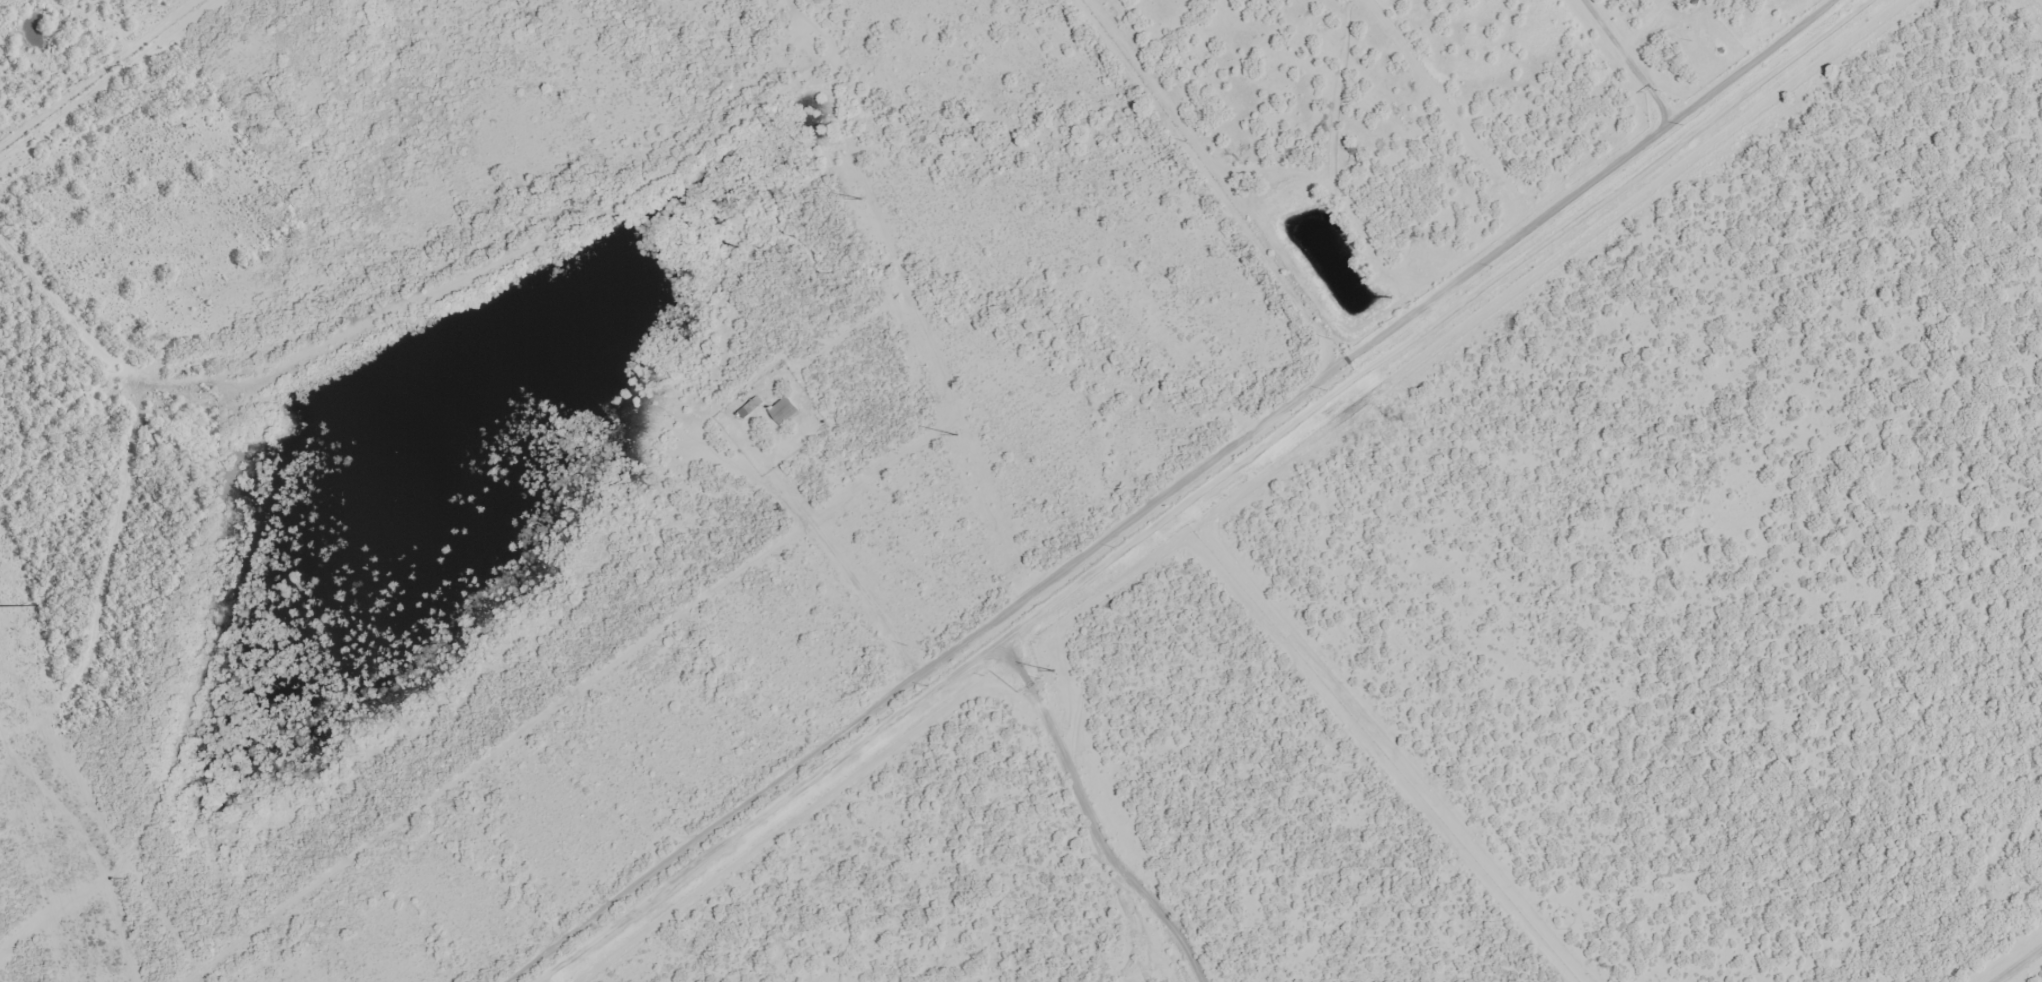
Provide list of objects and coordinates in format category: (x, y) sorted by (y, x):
power tower: (859, 200)
building: (749, 409)
power tower: (956, 436)
road: (1190, 483)
road: (832, 565)
power tower: (1053, 672)

